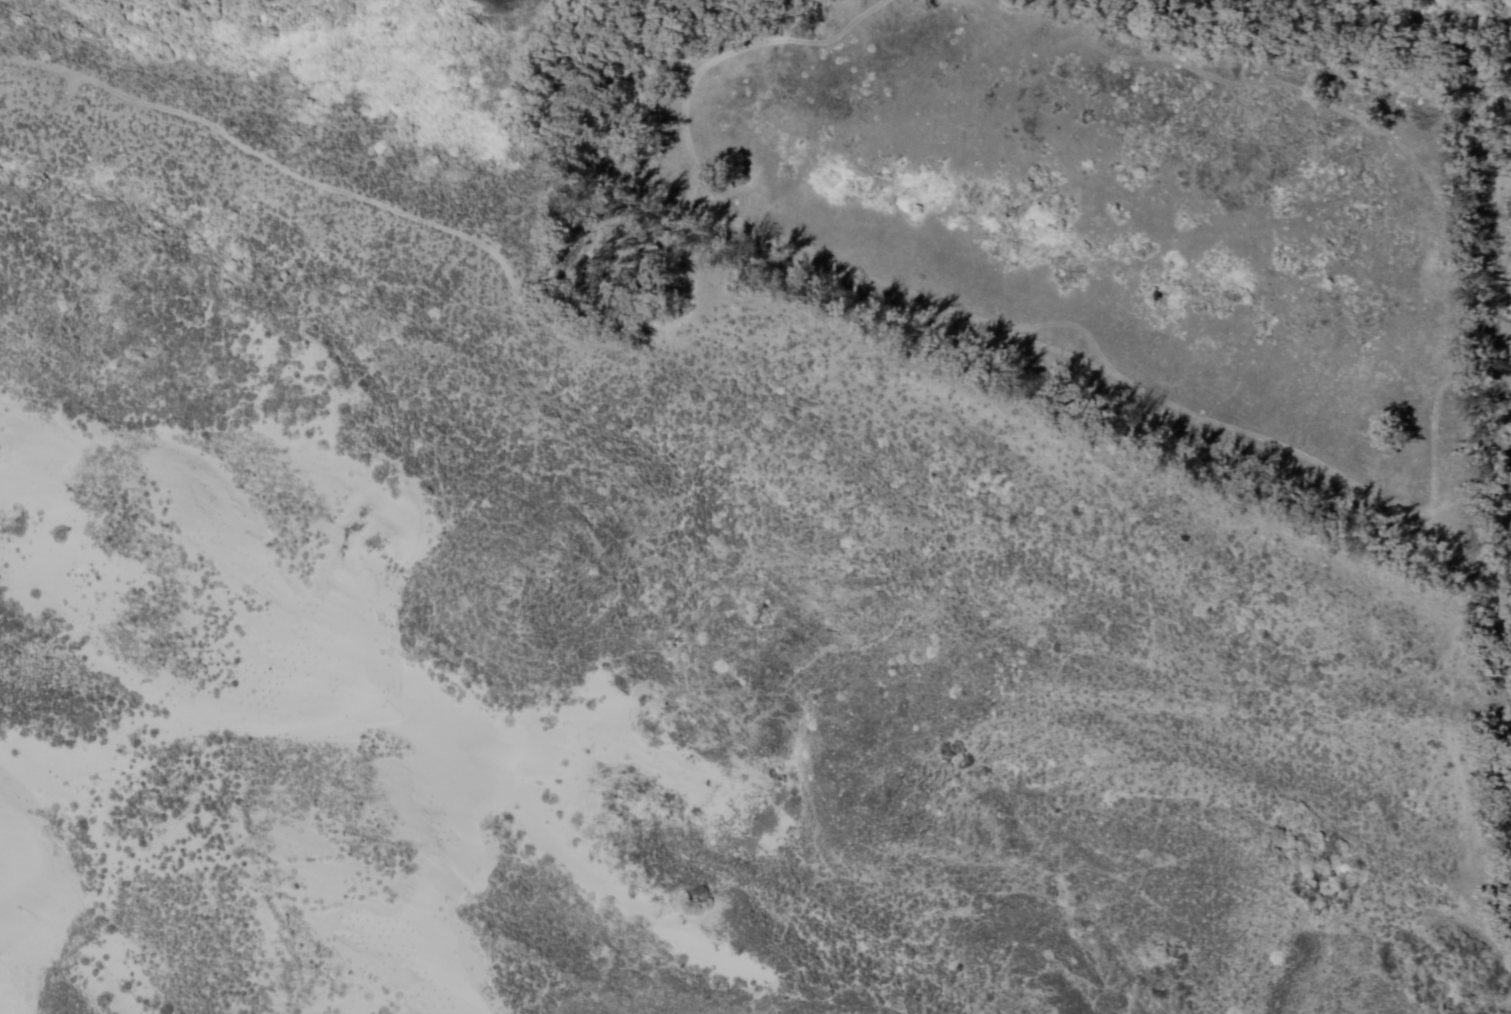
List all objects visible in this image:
park: (498, 754)

